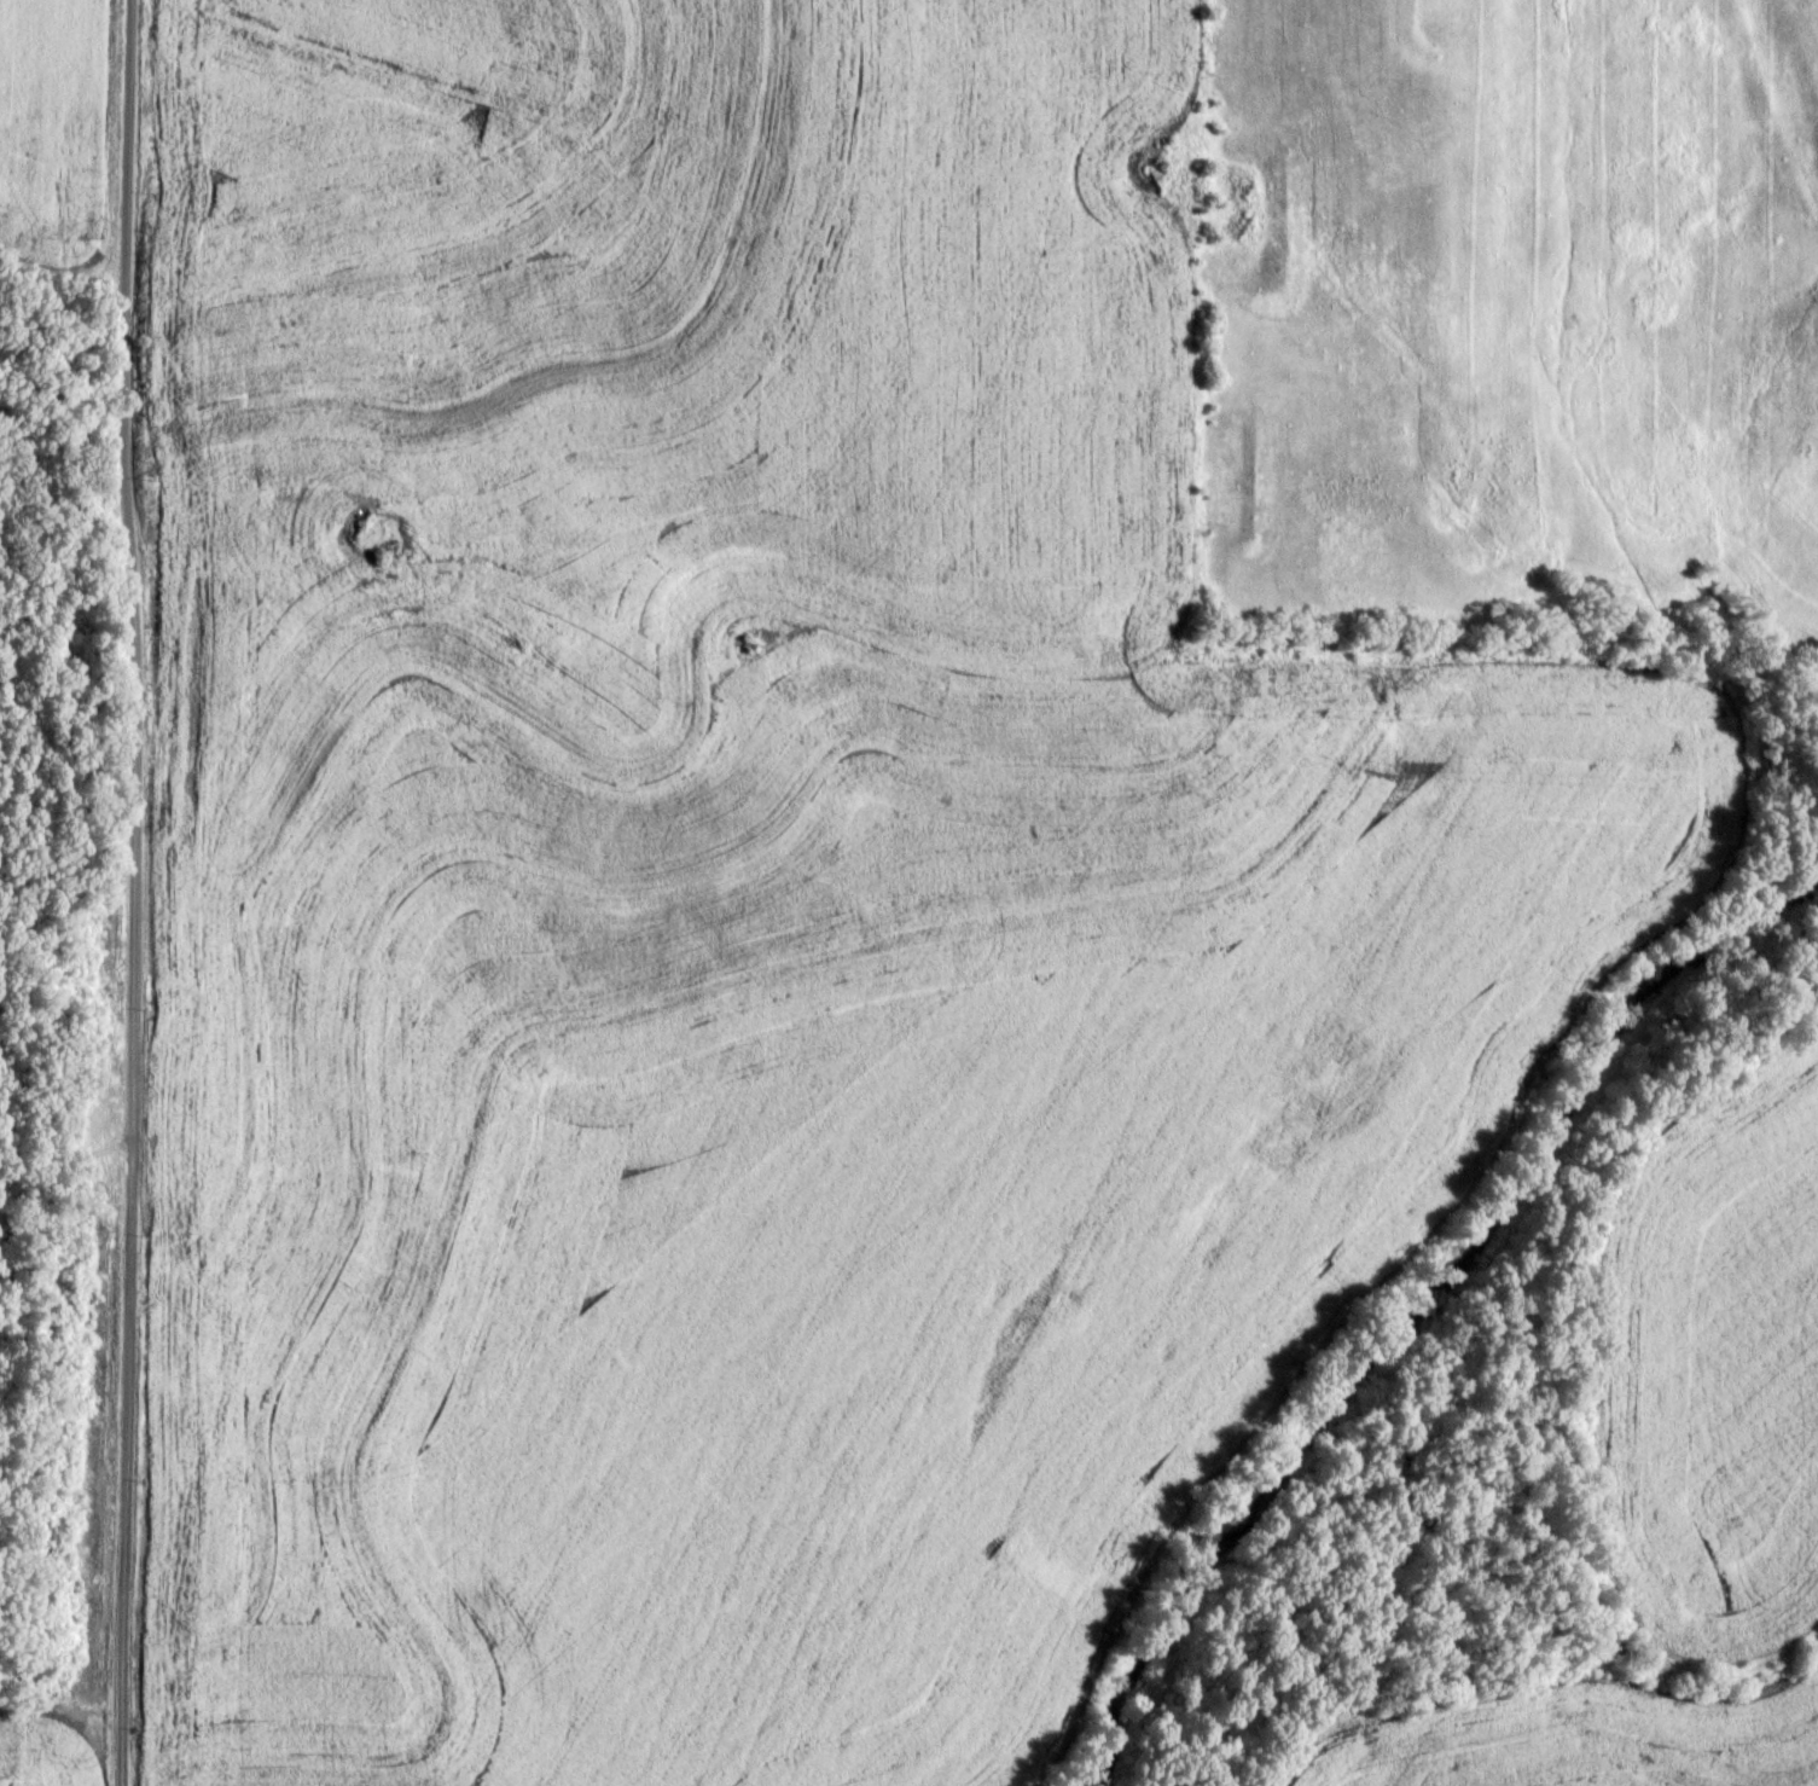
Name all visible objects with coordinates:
road: (134, 893)

